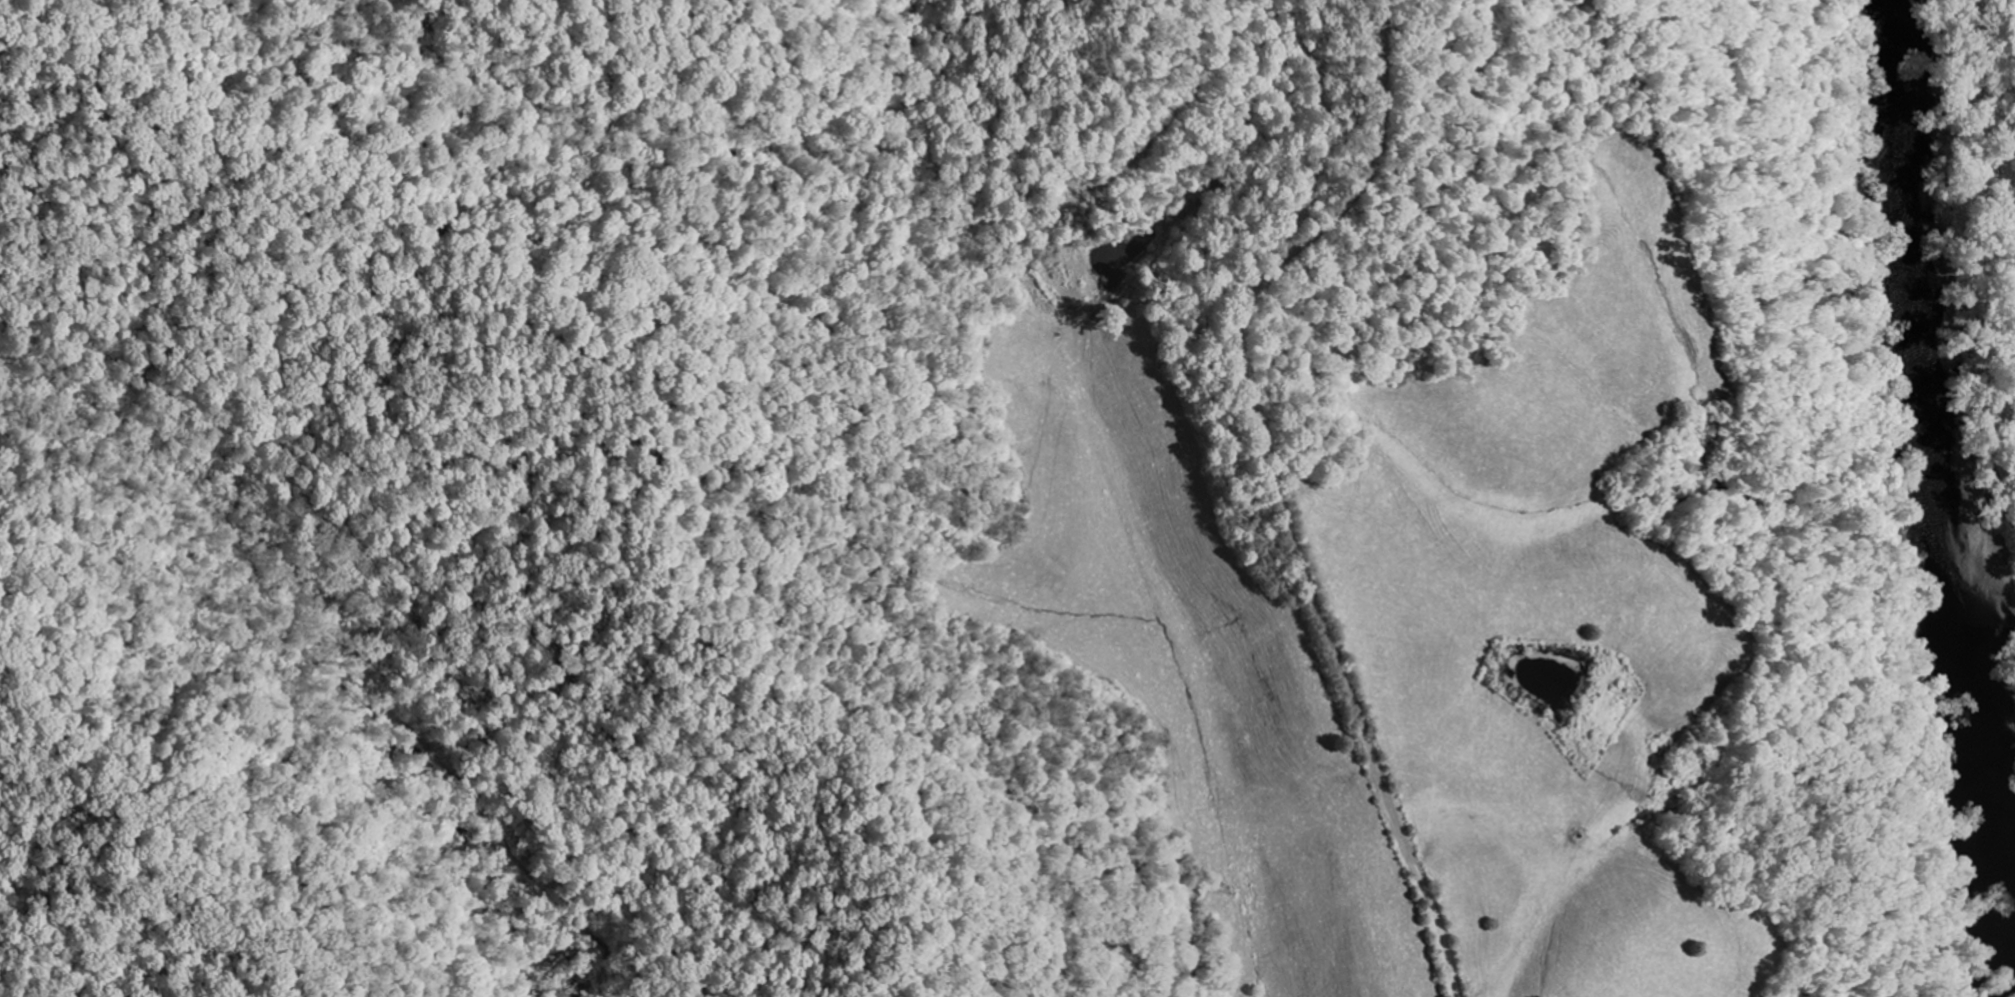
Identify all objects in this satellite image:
river: (1934, 477)
road: (1277, 486)

